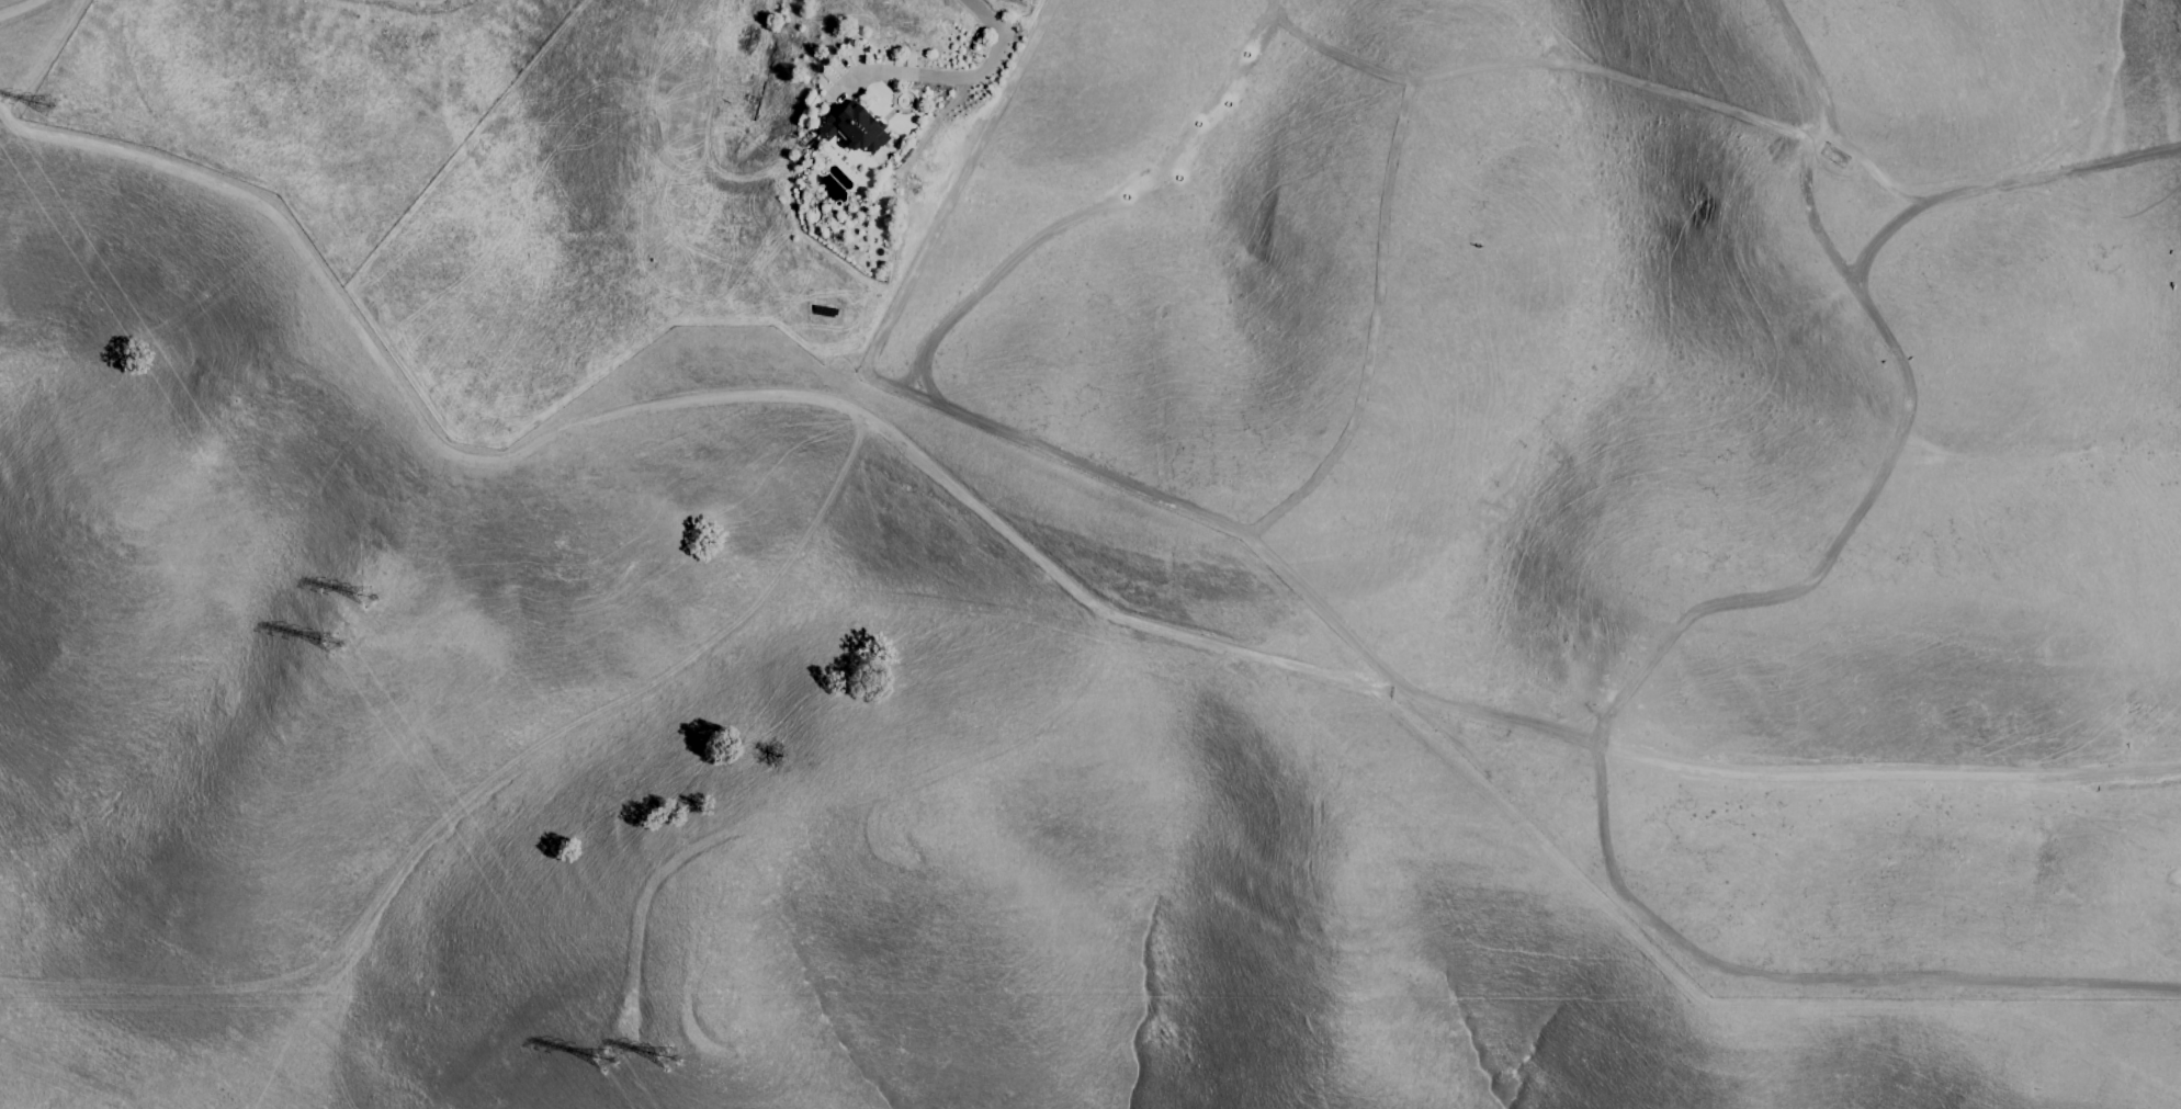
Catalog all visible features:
road: (974, 77)
power tower: (47, 112)
building: (852, 128)
power tower: (363, 607)
power tower: (339, 650)
power tower: (664, 1060)
power tower: (609, 1064)

